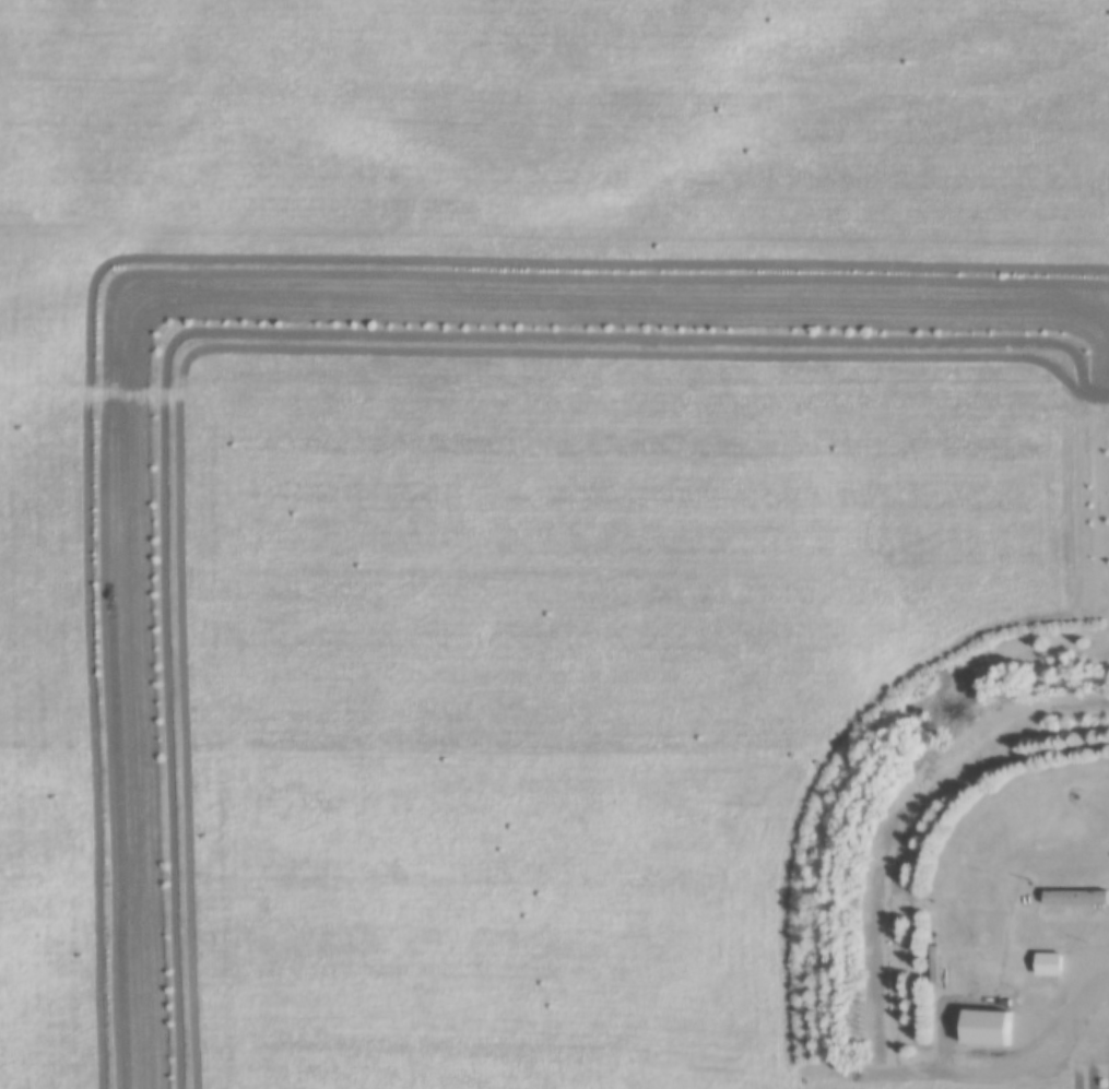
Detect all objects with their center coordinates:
building: (304, 776)
building: (243, 784)
building: (489, 854)
building: (1076, 901)
building: (1055, 964)
building: (486, 1025)
road: (1051, 1037)

